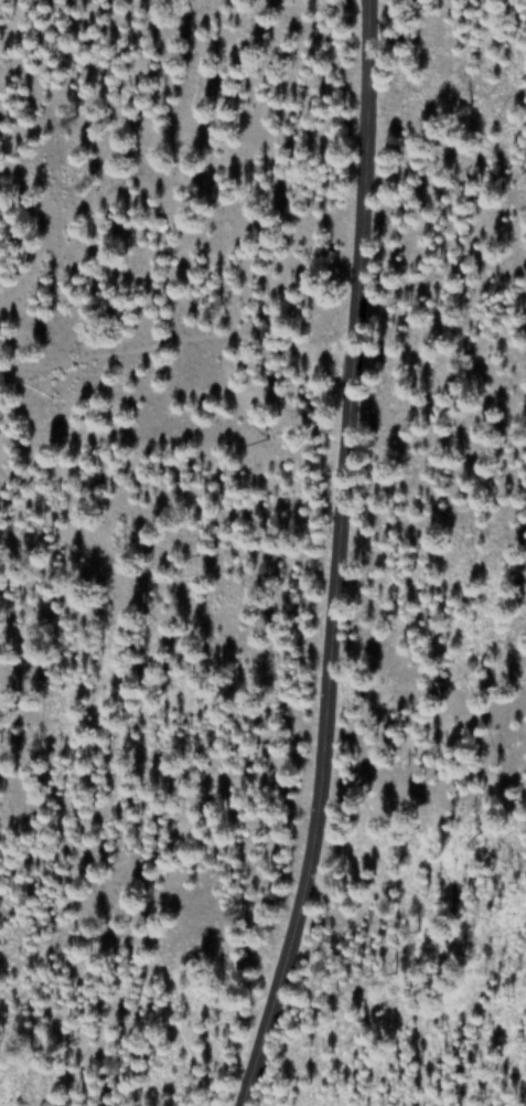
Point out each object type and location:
road: (335, 557)

